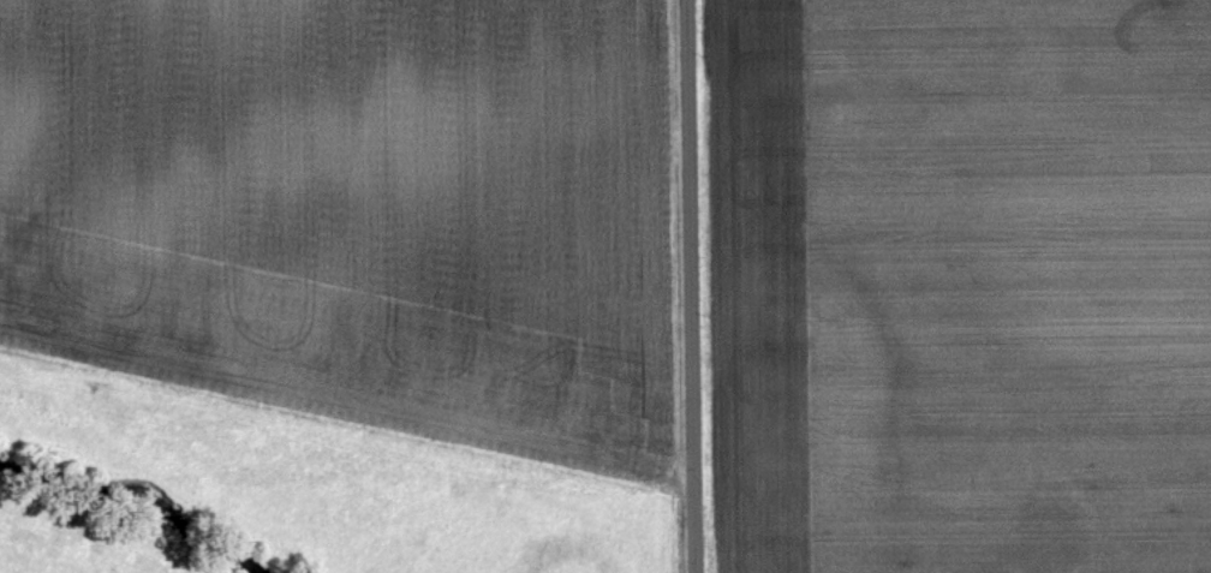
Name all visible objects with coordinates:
road: (686, 286)

